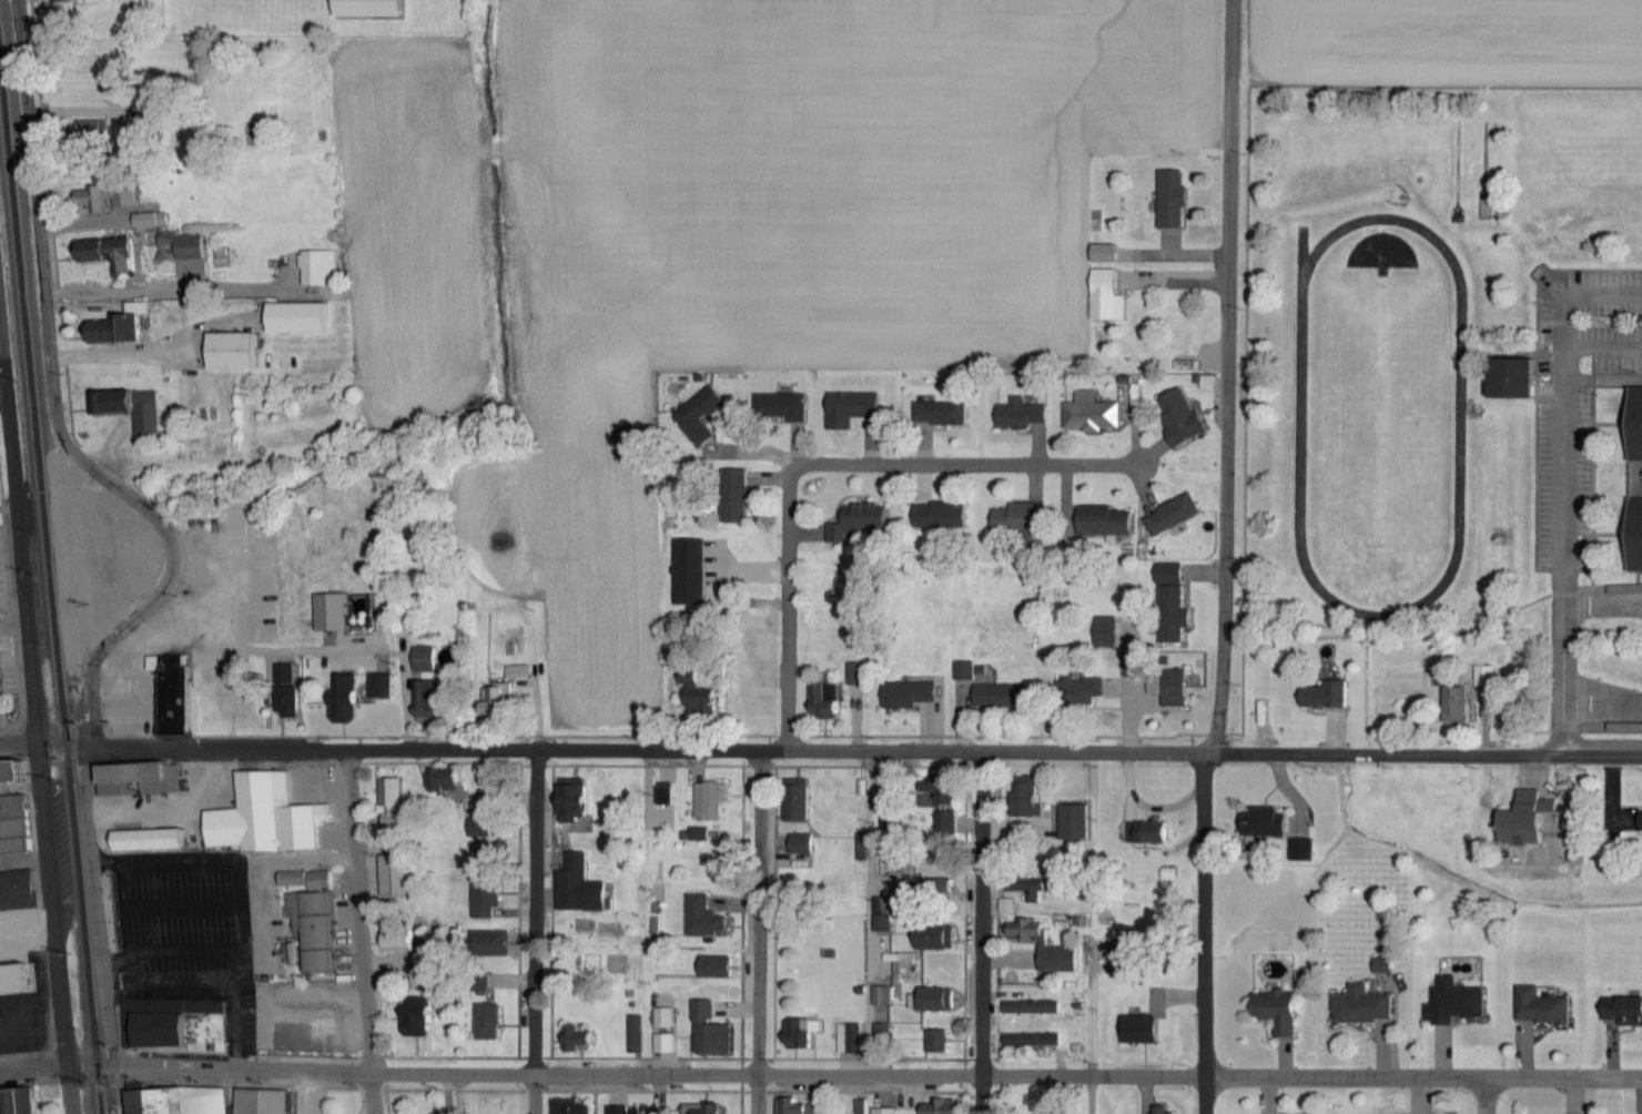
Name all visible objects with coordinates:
building: (362, 9)
building: (54, 16)
building: (121, 193)
building: (1169, 201)
building: (183, 247)
building: (121, 260)
building: (316, 270)
building: (1142, 283)
building: (1103, 298)
building: (1138, 328)
building: (115, 330)
building: (227, 352)
road: (1233, 375)
building: (1506, 379)
road: (3, 396)
building: (107, 402)
building: (847, 409)
road: (63, 411)
building: (1087, 413)
building: (1021, 415)
building: (1175, 418)
track: (1460, 419)
building: (1633, 426)
road: (983, 463)
road: (1567, 489)
building: (731, 502)
building: (1169, 516)
building: (1015, 519)
building: (853, 523)
building: (1102, 524)
building: (1632, 536)
building: (687, 573)
road: (789, 594)
building: (1169, 607)
railway: (50, 609)
building: (1102, 635)
road: (232, 648)
building: (423, 660)
building: (963, 671)
building: (854, 674)
building: (1170, 689)
building: (692, 693)
building: (343, 696)
building: (906, 696)
building: (1000, 697)
building: (1321, 697)
building: (499, 699)
building: (227, 700)
building: (426, 702)
building: (283, 703)
road: (37, 712)
building: (169, 717)
road: (45, 742)
road: (790, 748)
road: (1564, 753)
building: (20, 770)
building: (139, 777)
building: (440, 784)
building: (1021, 798)
building: (562, 801)
building: (929, 801)
building: (708, 803)
building: (876, 814)
building: (262, 818)
building: (1639, 818)
building: (479, 820)
building: (1516, 821)
building: (1260, 823)
building: (1072, 824)
building: (16, 826)
building: (696, 835)
road: (300, 860)
building: (569, 862)
building: (392, 875)
building: (303, 880)
building: (1023, 883)
building: (571, 885)
building: (21, 891)
road: (241, 892)
building: (484, 899)
building: (1005, 908)
building: (697, 913)
road: (99, 928)
road: (364, 929)
building: (311, 930)
road: (539, 930)
road: (759, 930)
road: (987, 932)
road: (1206, 932)
building: (1023, 936)
building: (926, 938)
building: (403, 942)
building: (1055, 960)
building: (711, 969)
building: (911, 972)
building: (21, 980)
road: (868, 985)
building: (879, 996)
building: (930, 1001)
building: (1456, 1005)
building: (1358, 1006)
building: (1538, 1006)
building: (1034, 1007)
building: (1621, 1011)
building: (1273, 1013)
building: (413, 1017)
building: (1135, 1031)
building: (706, 1032)
building: (878, 1033)
building: (634, 1035)
building: (572, 1039)
building: (1031, 1040)
building: (934, 1041)
building: (662, 1044)
building: (847, 1047)
road: (268, 1067)
road: (873, 1074)
road: (1426, 1074)
road: (305, 1092)
road: (1094, 1093)
road: (1484, 1094)
building: (21, 1102)
building: (151, 1102)
building: (256, 1102)
building: (791, 1107)
building: (939, 1108)
building: (567, 1110)
building: (701, 1110)
building: (881, 1112)

